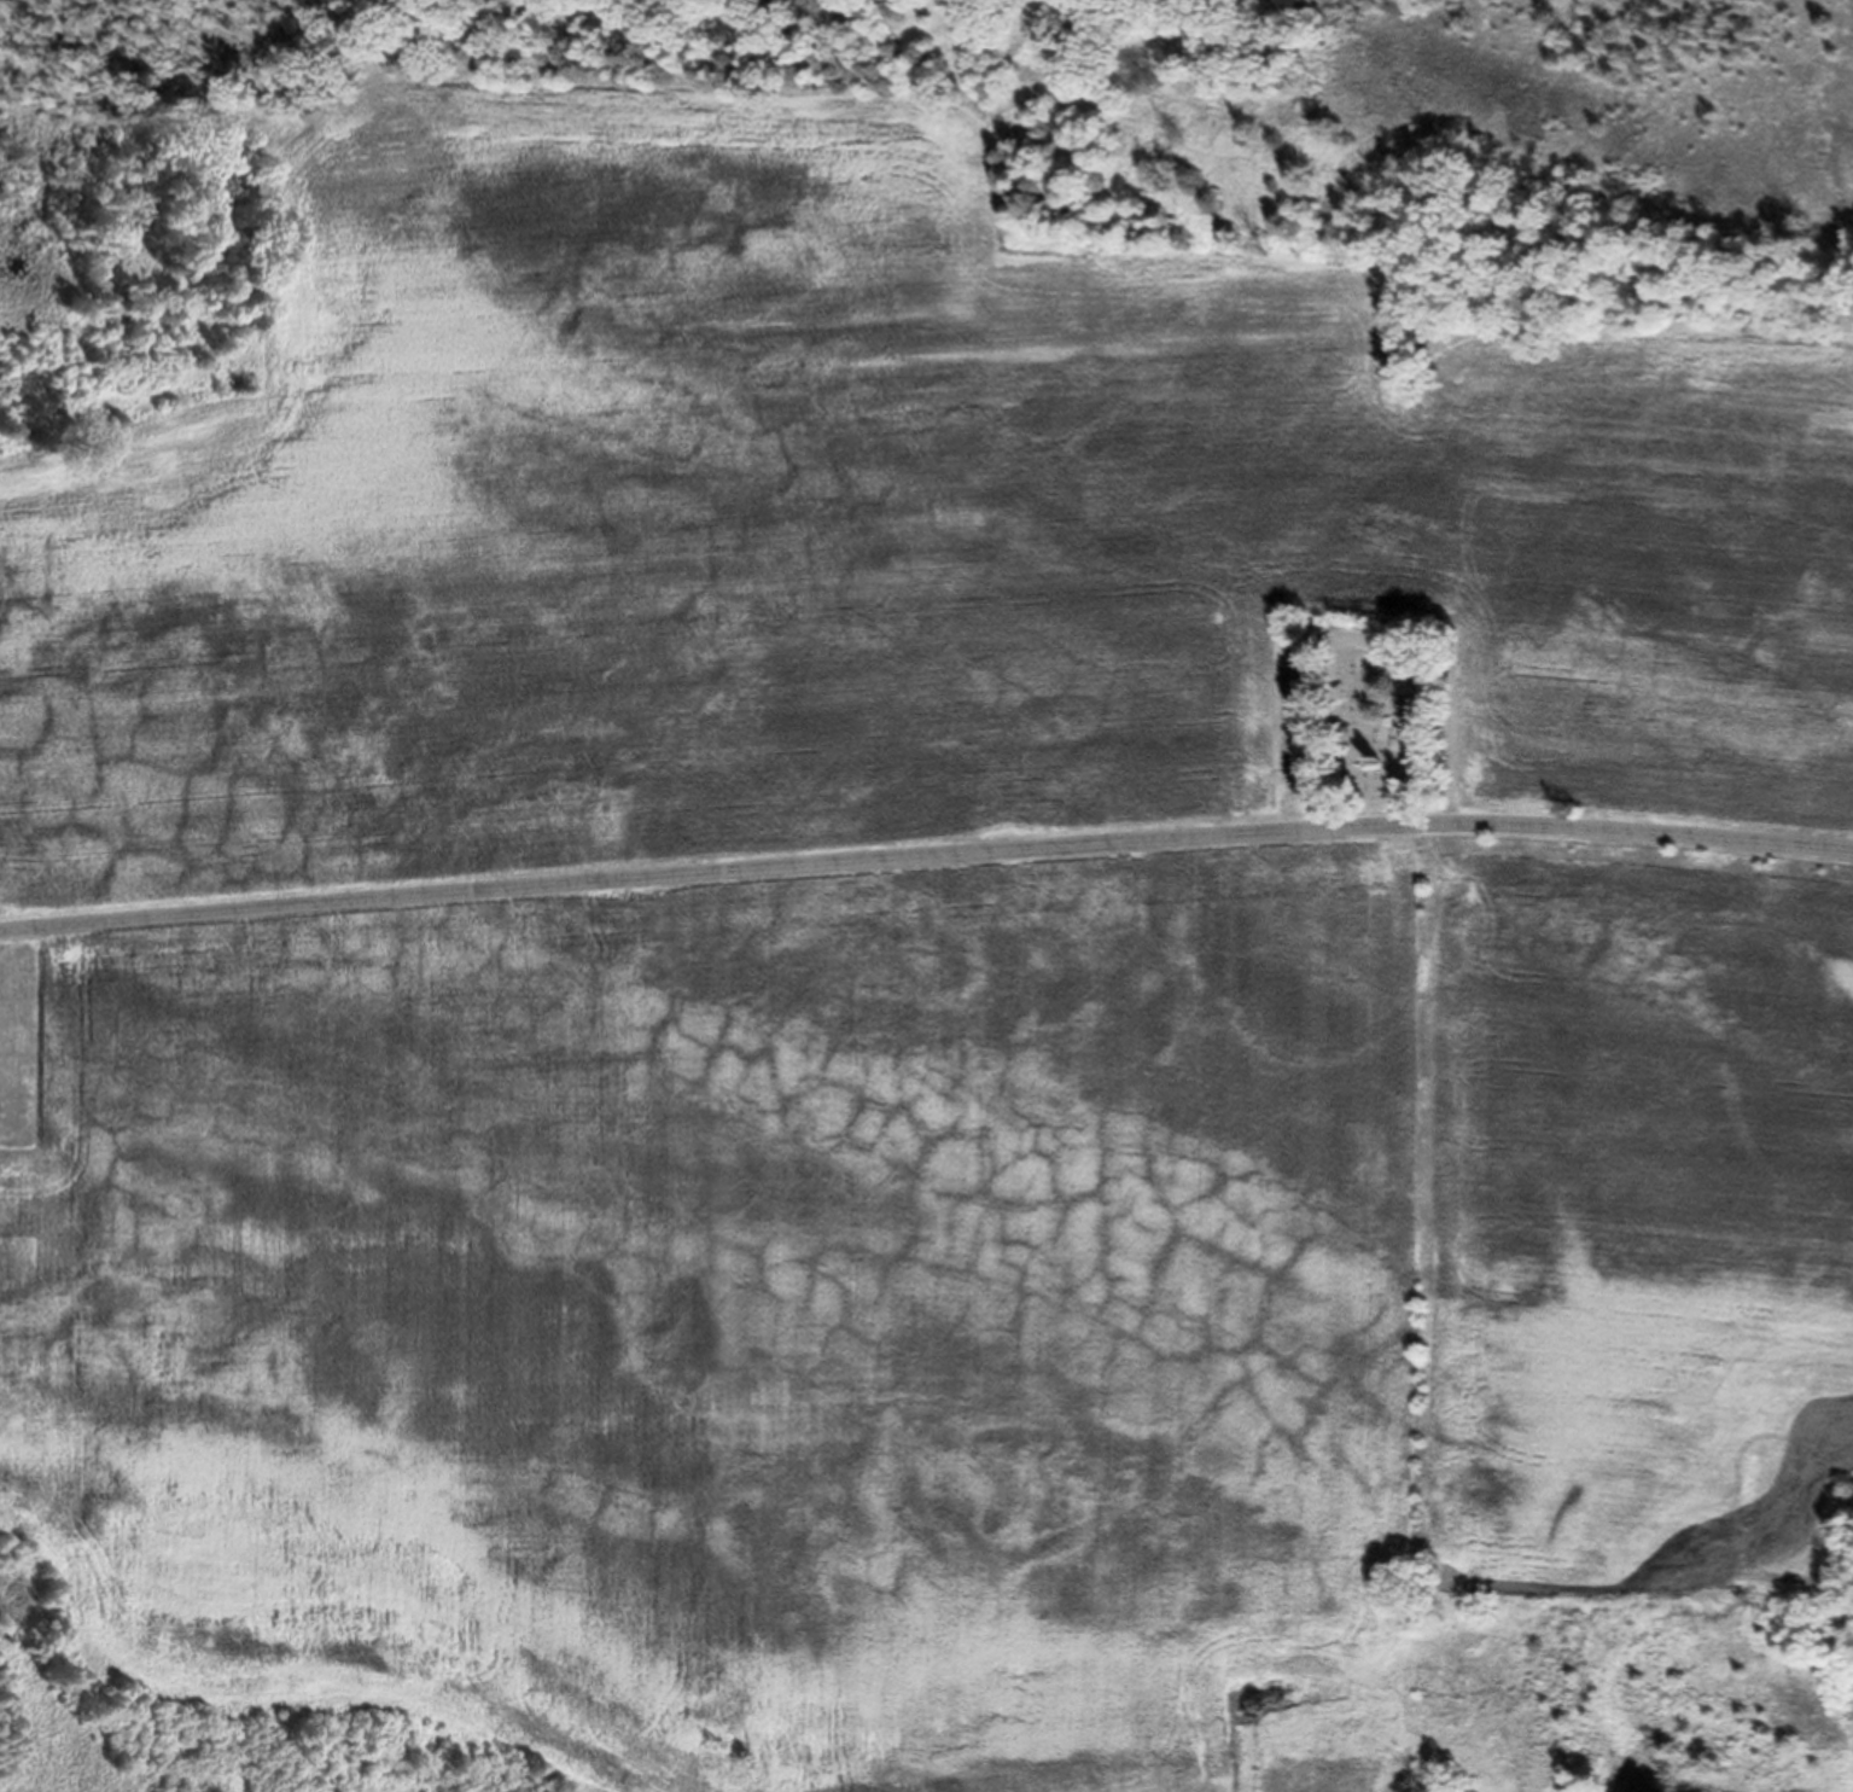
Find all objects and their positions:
road: (926, 869)

